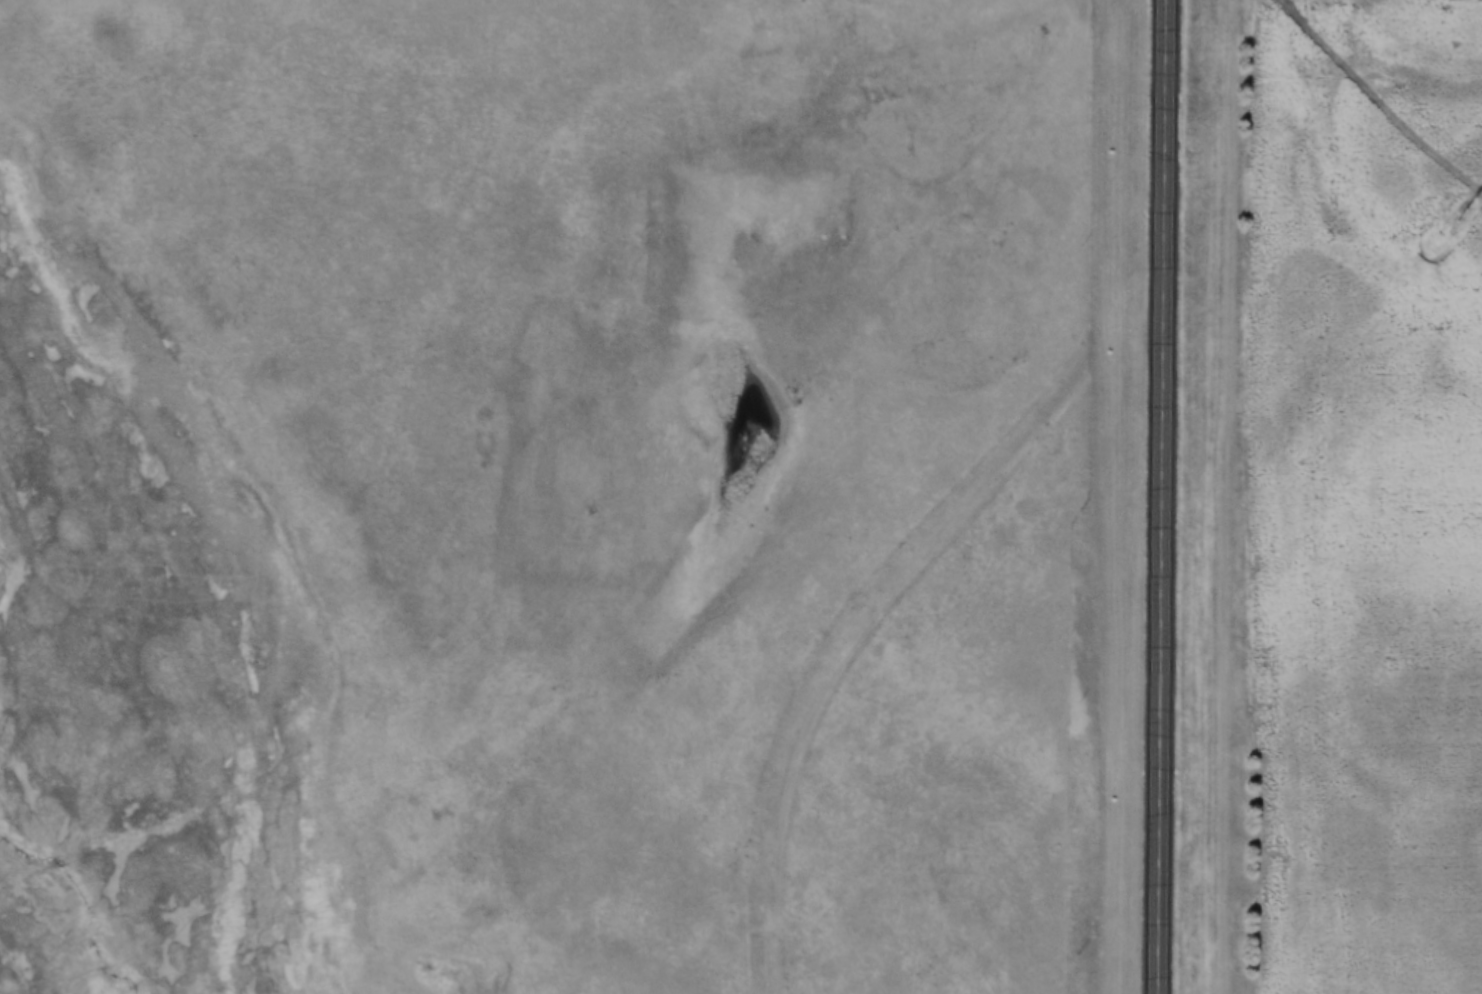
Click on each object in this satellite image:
power tower: (1470, 208)
road: (1164, 497)

